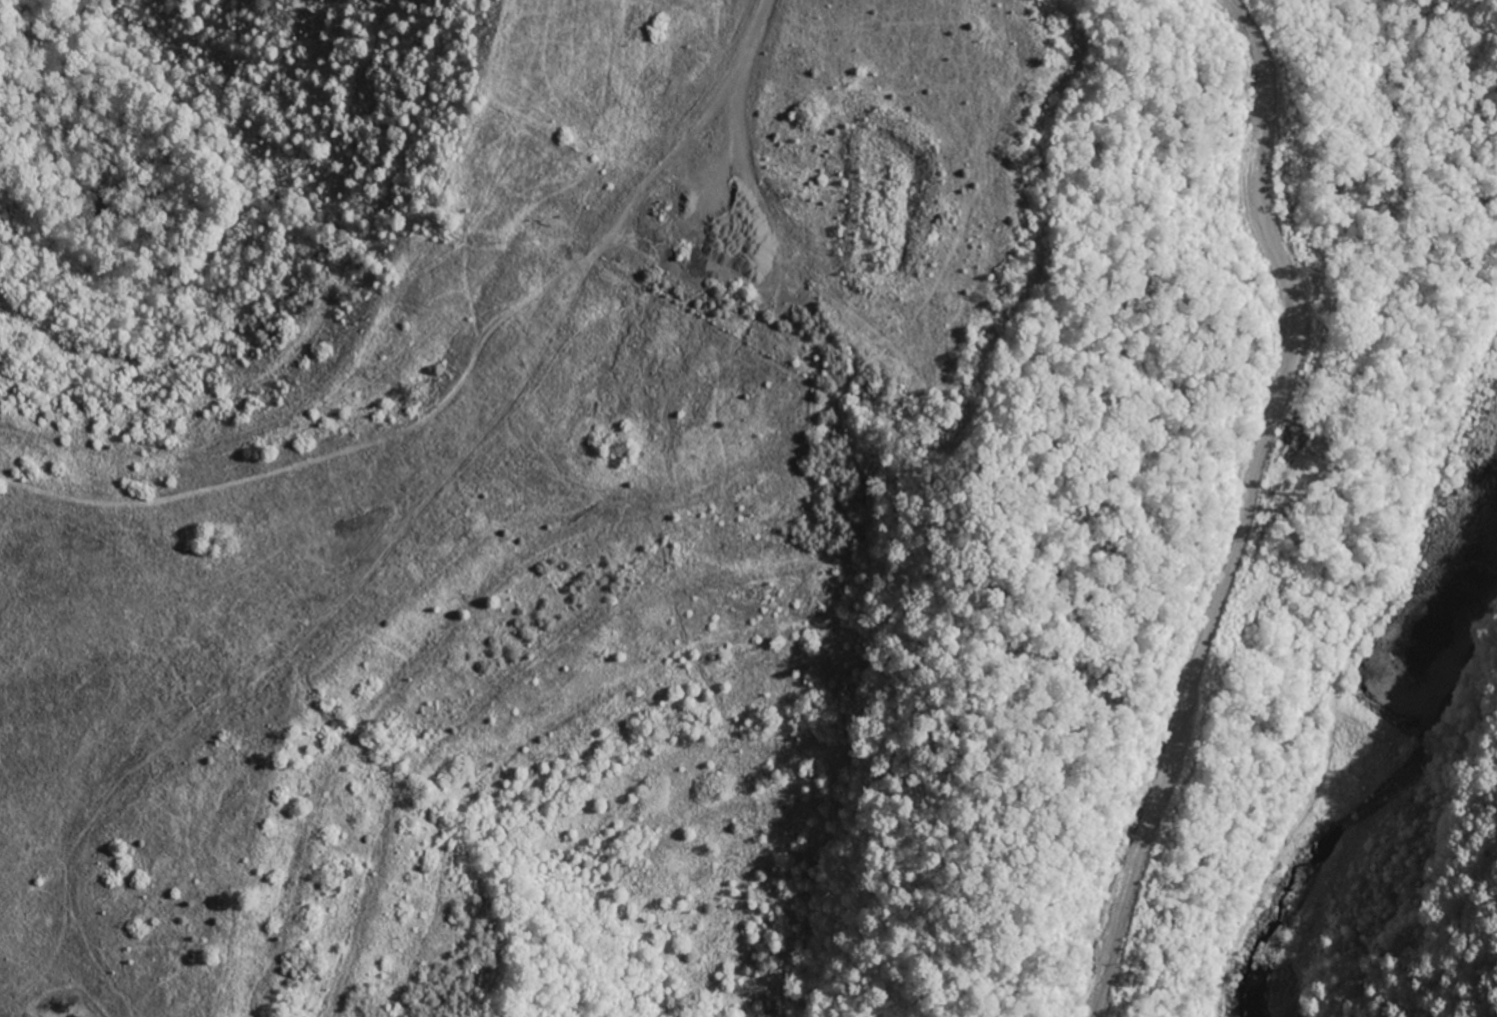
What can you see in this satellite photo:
road: (1247, 508)

